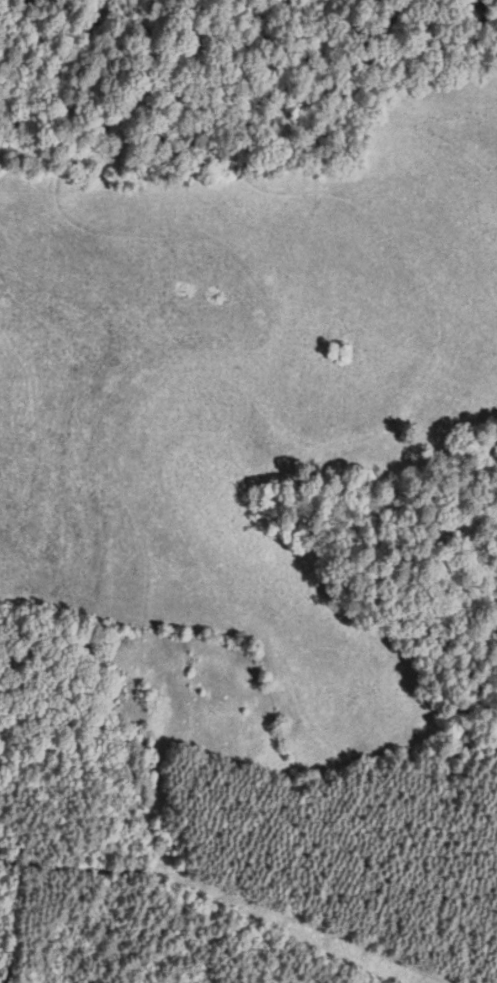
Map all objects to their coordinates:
building: (3, 633)
building: (85, 643)

